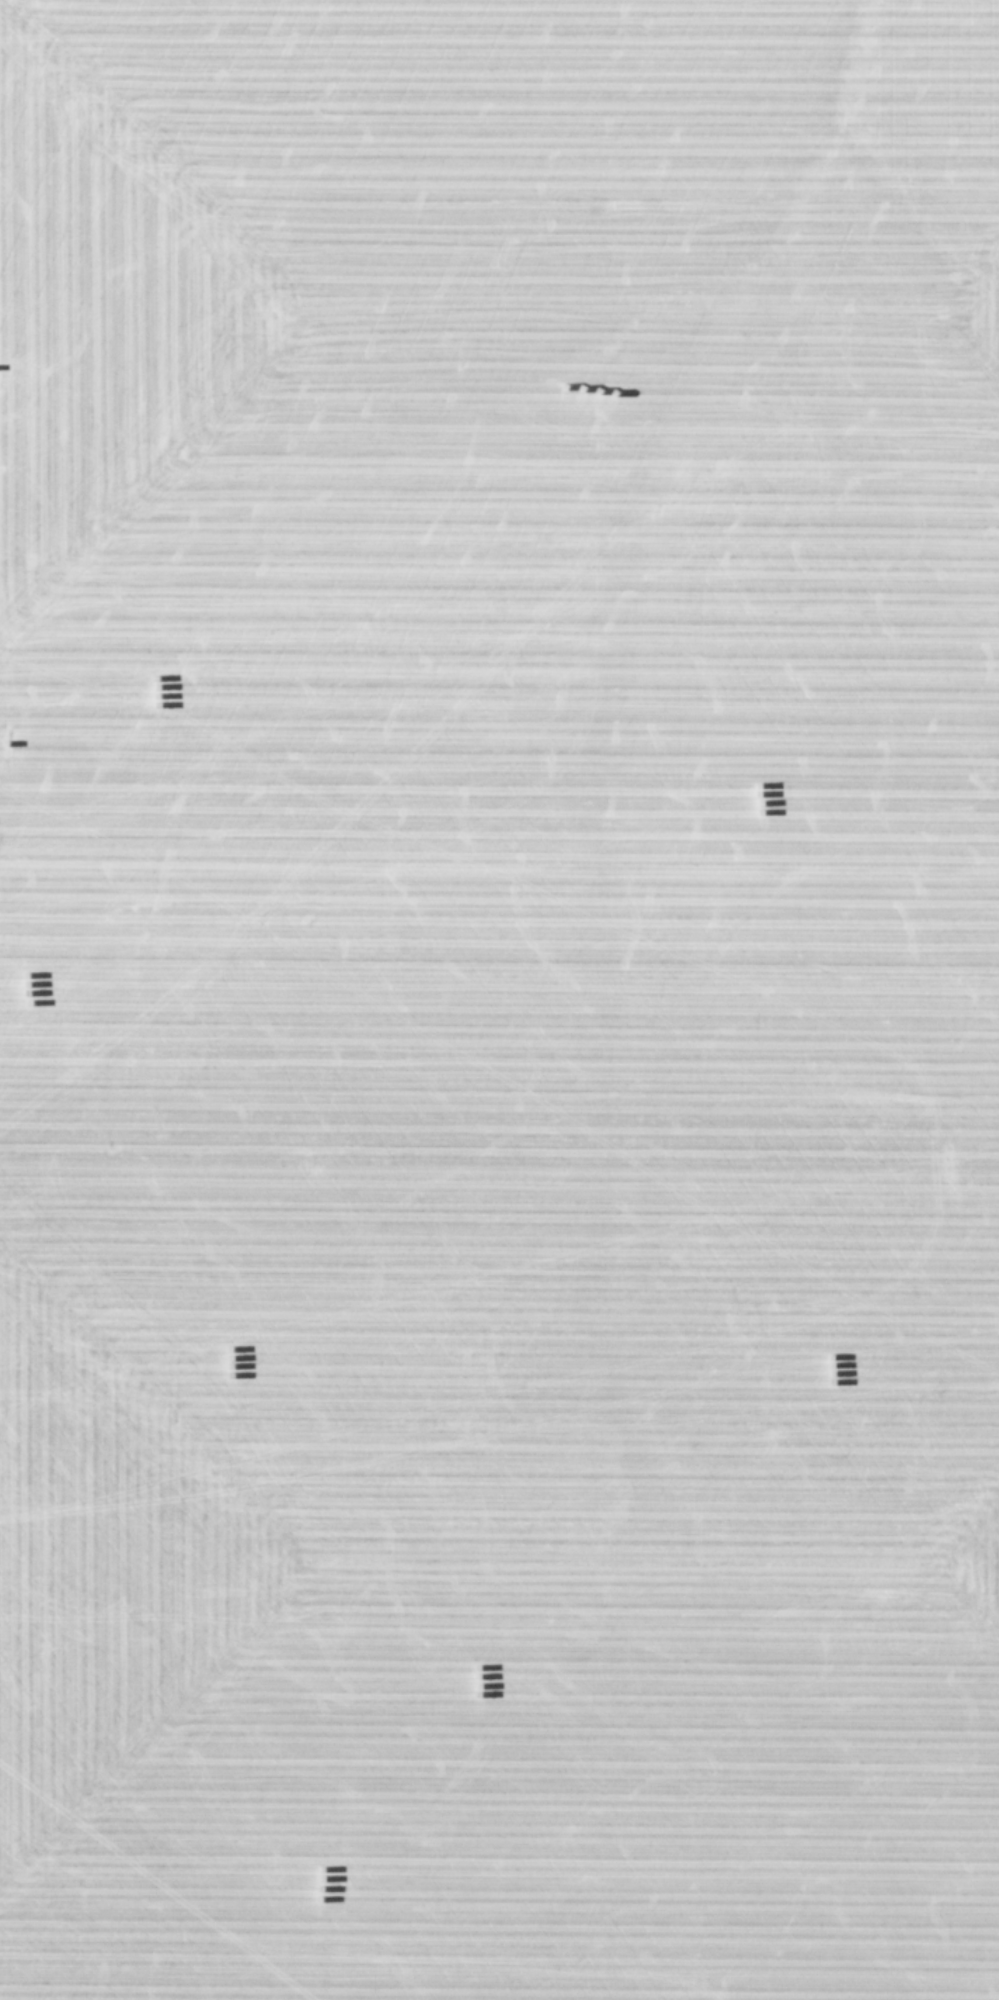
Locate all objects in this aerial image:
crop: (499, 1000)

